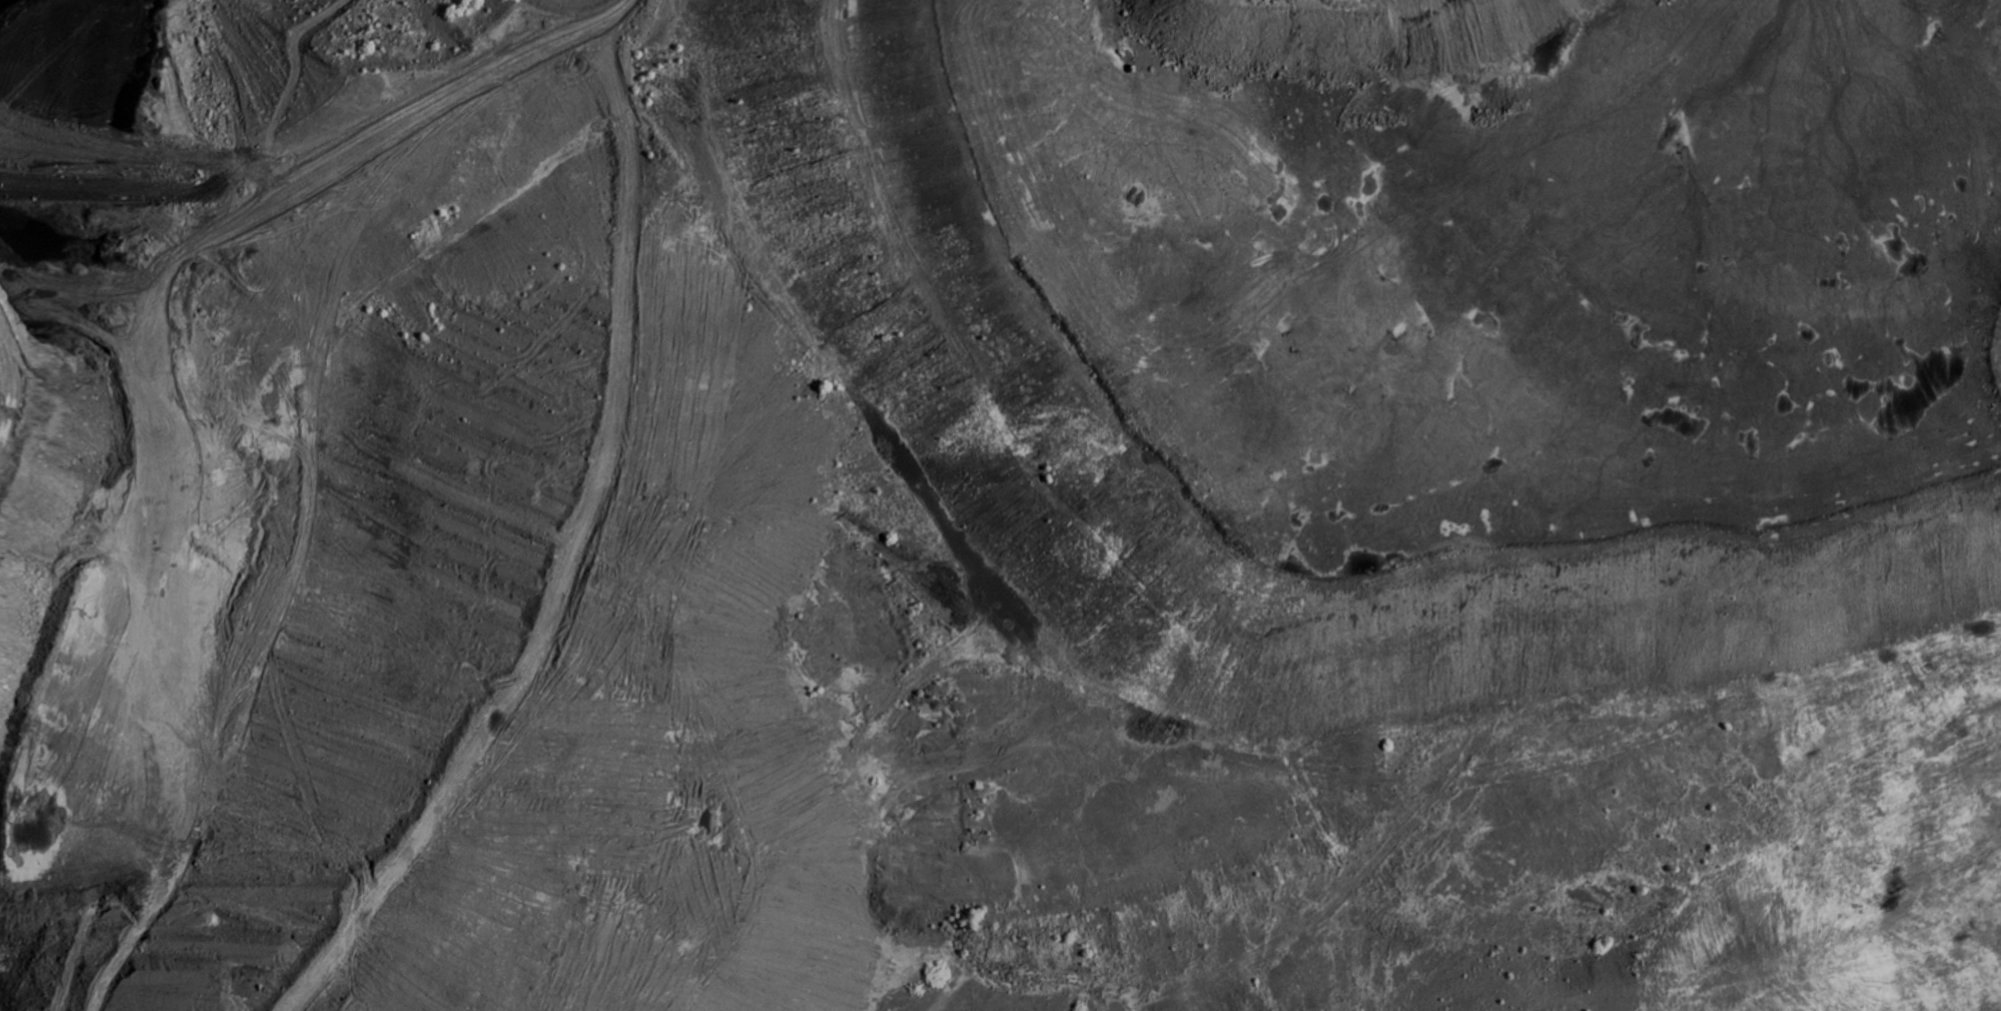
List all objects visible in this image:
quarry: (1000, 505)

